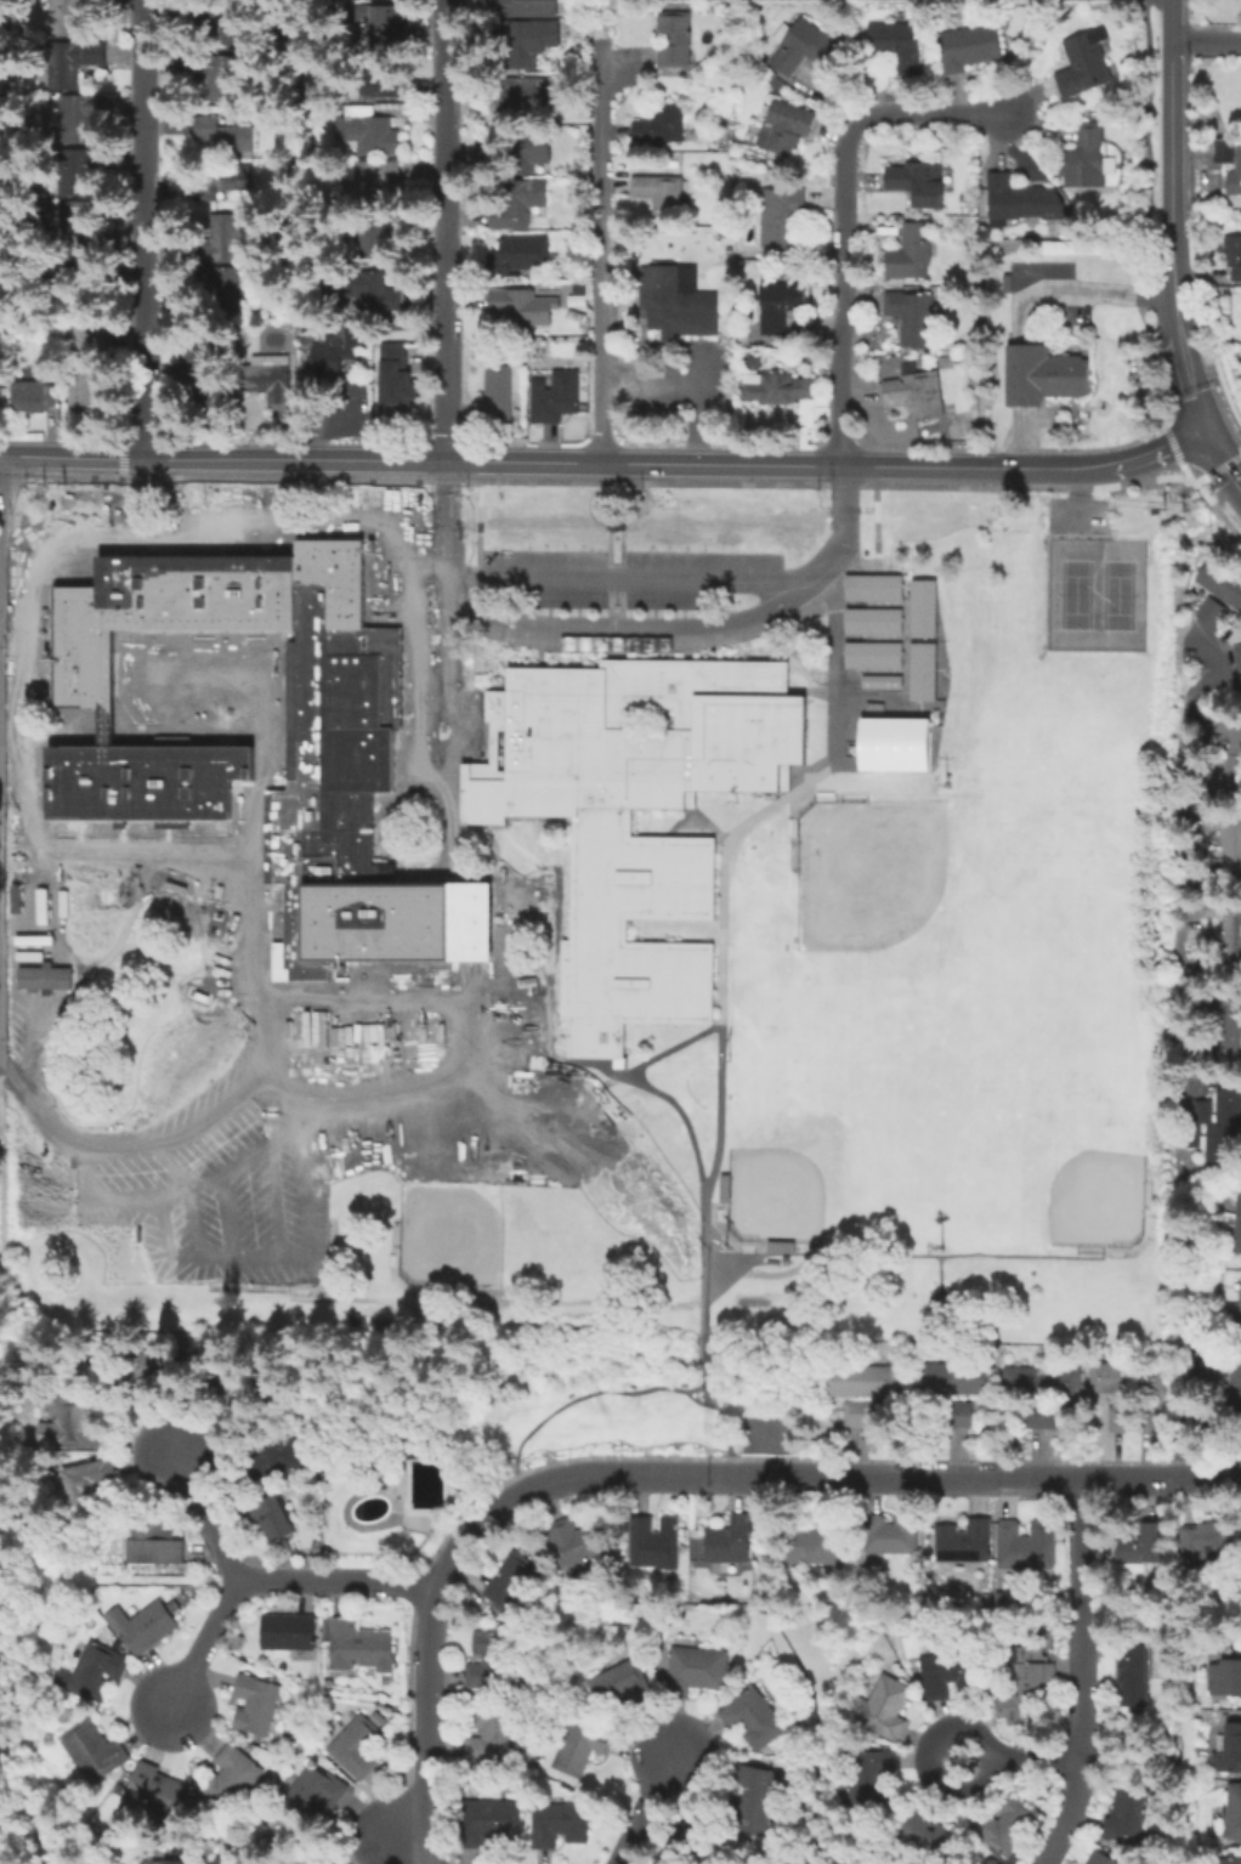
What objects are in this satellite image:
building: (527, 7)
building: (69, 17)
building: (227, 24)
building: (386, 26)
road: (1203, 38)
building: (675, 41)
building: (896, 45)
building: (520, 46)
building: (801, 47)
building: (968, 49)
building: (67, 64)
building: (1084, 66)
building: (221, 79)
building: (375, 81)
building: (525, 95)
building: (85, 117)
building: (788, 125)
building: (663, 126)
building: (369, 132)
building: (226, 135)
road: (1168, 135)
building: (1222, 152)
building: (532, 154)
building: (1089, 160)
building: (81, 172)
building: (1231, 182)
building: (226, 183)
building: (379, 183)
building: (918, 186)
building: (661, 196)
building: (1022, 204)
building: (517, 205)
road: (841, 215)
building: (781, 219)
building: (79, 227)
road: (147, 230)
road: (446, 231)
building: (225, 239)
building: (379, 239)
road: (602, 243)
building: (909, 254)
building: (516, 257)
building: (1234, 261)
building: (228, 288)
road: (1077, 290)
building: (374, 293)
building: (576, 300)
building: (674, 300)
building: (777, 307)
building: (526, 310)
building: (912, 318)
building: (87, 345)
building: (327, 346)
road: (1180, 351)
building: (270, 376)
building: (1043, 376)
building: (206, 383)
building: (397, 383)
road: (648, 384)
building: (780, 390)
building: (917, 393)
building: (499, 395)
building: (38, 397)
building: (557, 400)
road: (695, 407)
flagpole: (1077, 414)
road: (0, 455)
road: (1222, 457)
road: (420, 460)
road: (1105, 465)
road: (919, 468)
road: (1078, 497)
parking lot: (1075, 516)
road: (730, 539)
building: (1219, 583)
building: (871, 587)
park: (1073, 594)
park: (1116, 594)
road: (0, 596)
building: (920, 607)
building: (1208, 612)
road: (0, 618)
building: (871, 621)
road: (843, 635)
building: (871, 655)
building: (1236, 656)
building: (920, 670)
road: (532, 681)
building: (879, 682)
road: (1232, 684)
road: (704, 692)
road: (1, 707)
building: (891, 743)
road: (736, 748)
building: (1228, 760)
building: (148, 761)
parking lot: (645, 770)
road: (636, 787)
road: (597, 818)
building: (1228, 845)
road: (637, 846)
park: (869, 874)
building: (637, 877)
park: (1039, 899)
road: (635, 908)
road: (712, 936)
building: (1232, 940)
building: (491, 965)
building: (41, 978)
road: (347, 997)
building: (500, 997)
building: (1228, 1032)
park: (993, 1070)
building: (1225, 1132)
building: (1192, 1135)
park: (775, 1194)
park: (1098, 1200)
road: (701, 1206)
building: (1237, 1219)
road: (8, 1226)
park: (279, 1234)
park: (452, 1236)
road: (936, 1273)
road: (557, 1302)
building: (1240, 1310)
road: (0, 1345)
building: (1106, 1377)
building: (947, 1378)
building: (1038, 1379)
building: (857, 1381)
road: (583, 1395)
road: (697, 1403)
building: (855, 1412)
building: (1037, 1417)
building: (1127, 1418)
building: (73, 1429)
road: (747, 1457)
building: (274, 1462)
road: (710, 1473)
road: (765, 1473)
building: (89, 1479)
road: (204, 1508)
building: (273, 1520)
building: (890, 1536)
building: (730, 1541)
building: (967, 1542)
building: (815, 1543)
building: (653, 1545)
building: (569, 1547)
building: (1146, 1547)
building: (1206, 1547)
building: (1027, 1548)
building: (155, 1551)
road: (335, 1579)
building: (512, 1581)
building: (147, 1627)
building: (290, 1632)
road: (200, 1645)
building: (358, 1649)
building: (492, 1664)
building: (696, 1668)
building: (93, 1673)
road: (800, 1673)
road: (1084, 1673)
building: (951, 1676)
building: (1135, 1677)
building: (1225, 1679)
building: (1027, 1683)
building: (622, 1685)
building: (256, 1704)
building: (885, 1706)
building: (753, 1718)
building: (492, 1736)
building: (580, 1746)
building: (359, 1749)
building: (90, 1751)
building: (1226, 1753)
road: (1015, 1755)
building: (233, 1777)
building: (869, 1780)
building: (157, 1792)
building: (313, 1797)
building: (756, 1802)
road: (646, 1809)
building: (1234, 1815)
building: (1127, 1817)
road: (423, 1824)
building: (491, 1825)
building: (560, 1826)
building: (1008, 1826)
road: (398, 1840)
building: (929, 1840)
building: (690, 1843)
building: (302, 1858)
building: (1099, 1859)
building: (1229, 1859)
building: (165, 1863)
building: (216, 1863)
building: (329, 1863)

